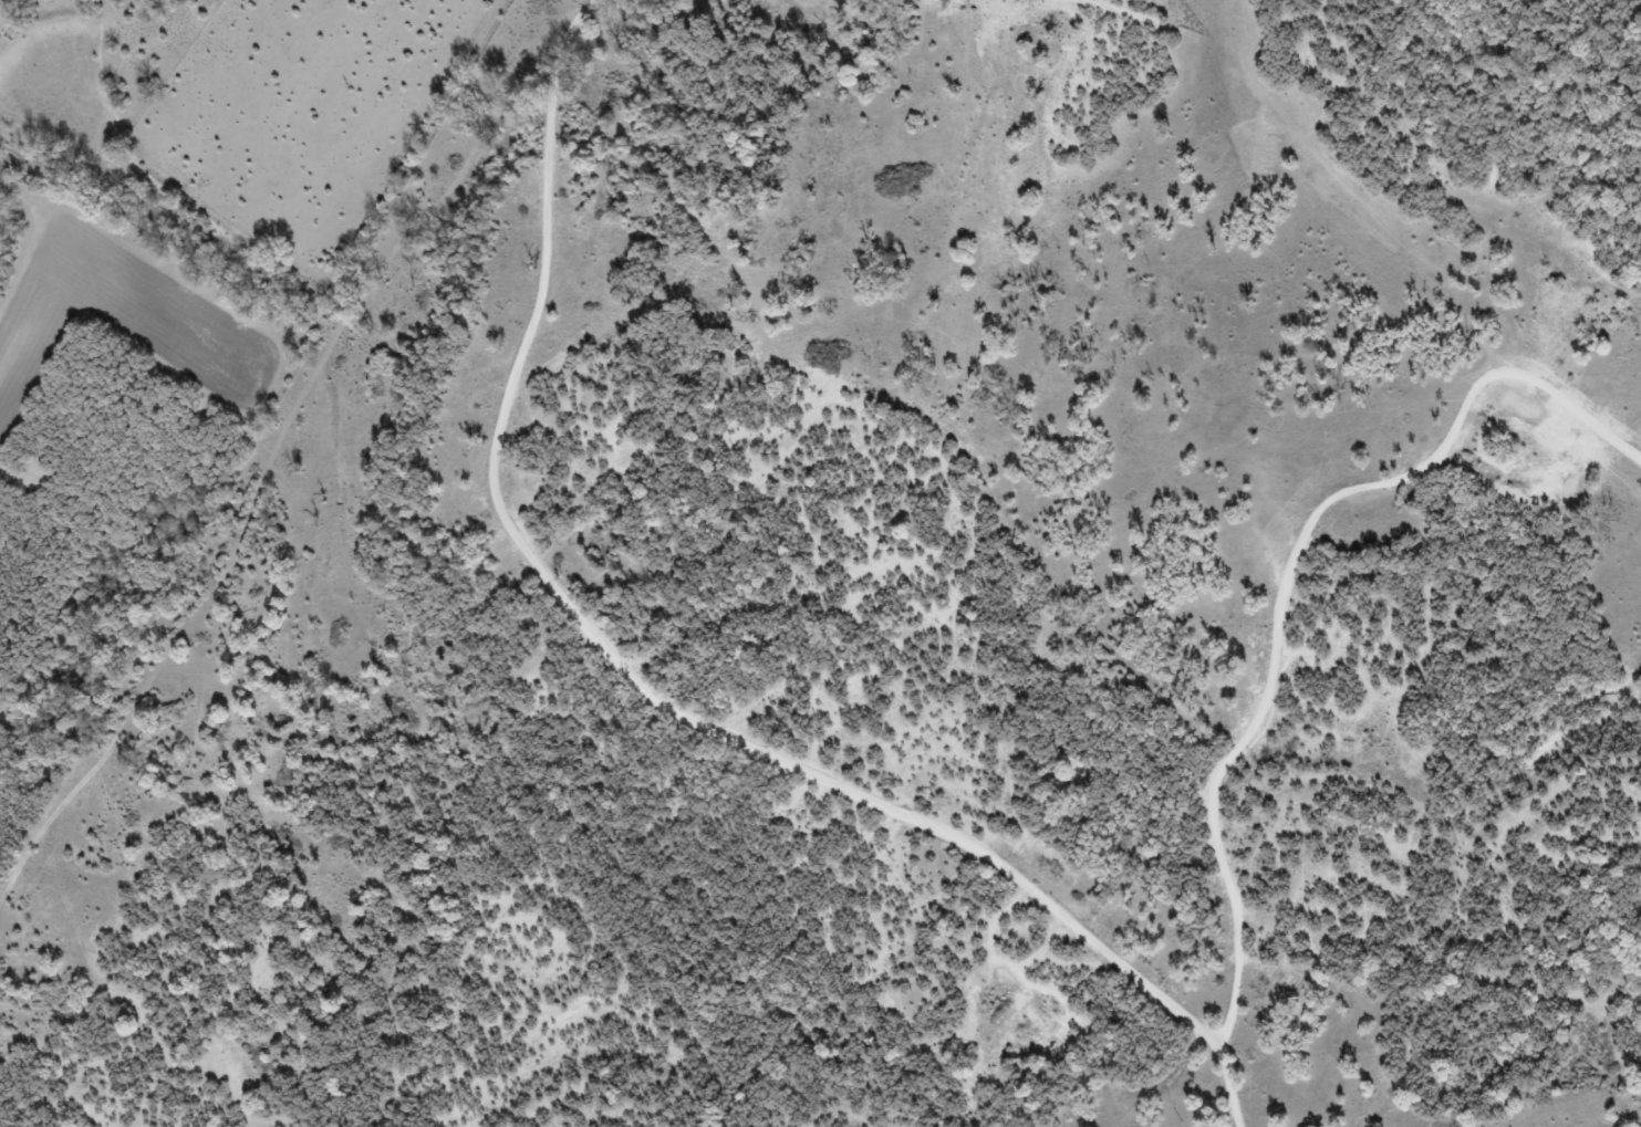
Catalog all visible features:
road: (1287, 588)
road: (612, 656)
road: (1223, 1087)

